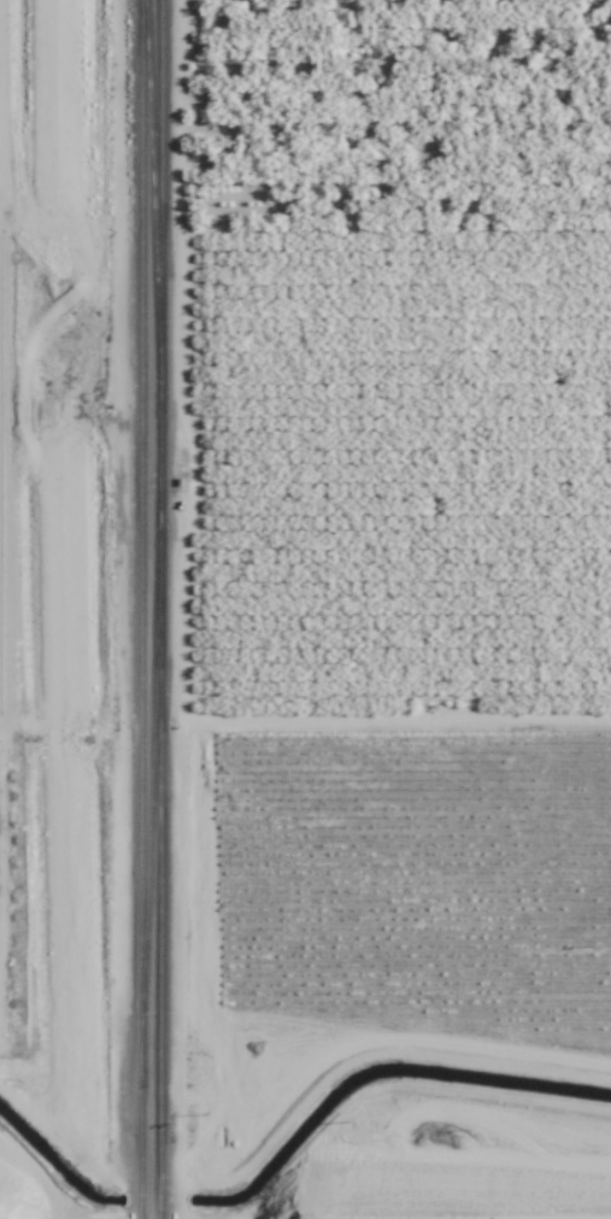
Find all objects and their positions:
railway: (153, 153)
railway: (161, 153)
railway: (160, 451)
crop: (400, 481)
railway: (143, 494)
railway: (54, 609)
railway: (71, 609)
railway: (151, 792)
railway: (160, 907)
railway: (143, 1104)

